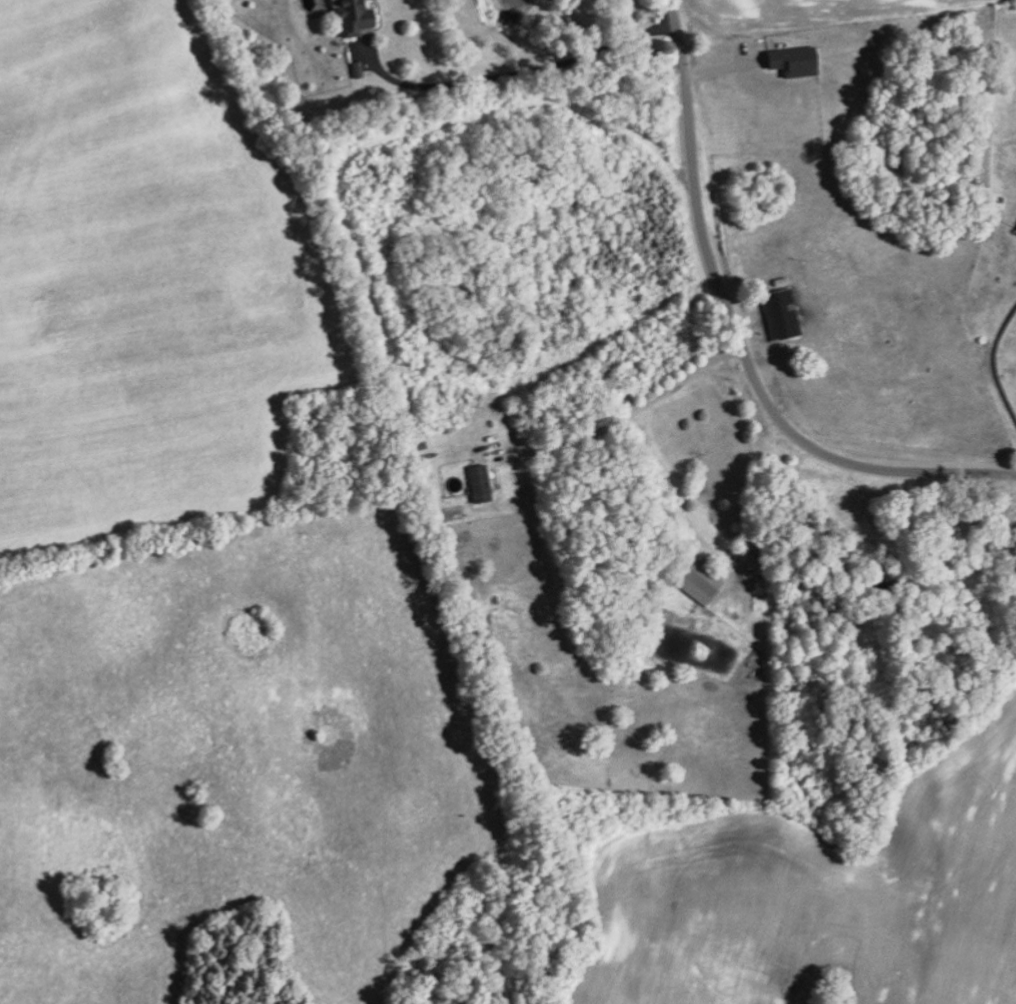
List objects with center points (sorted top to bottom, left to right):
building: (351, 16)
building: (792, 60)
building: (1015, 233)
building: (778, 313)
road: (737, 336)
building: (477, 483)
building: (698, 582)

